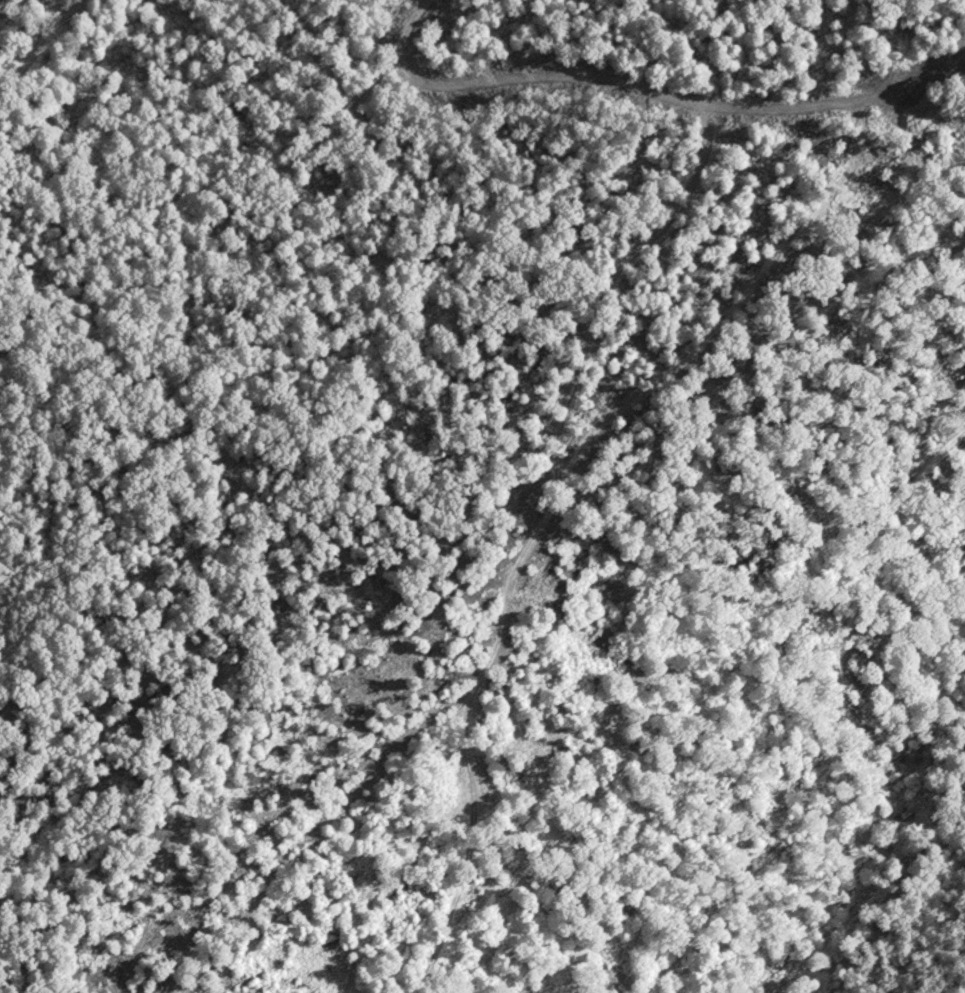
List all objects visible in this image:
road: (587, 347)

